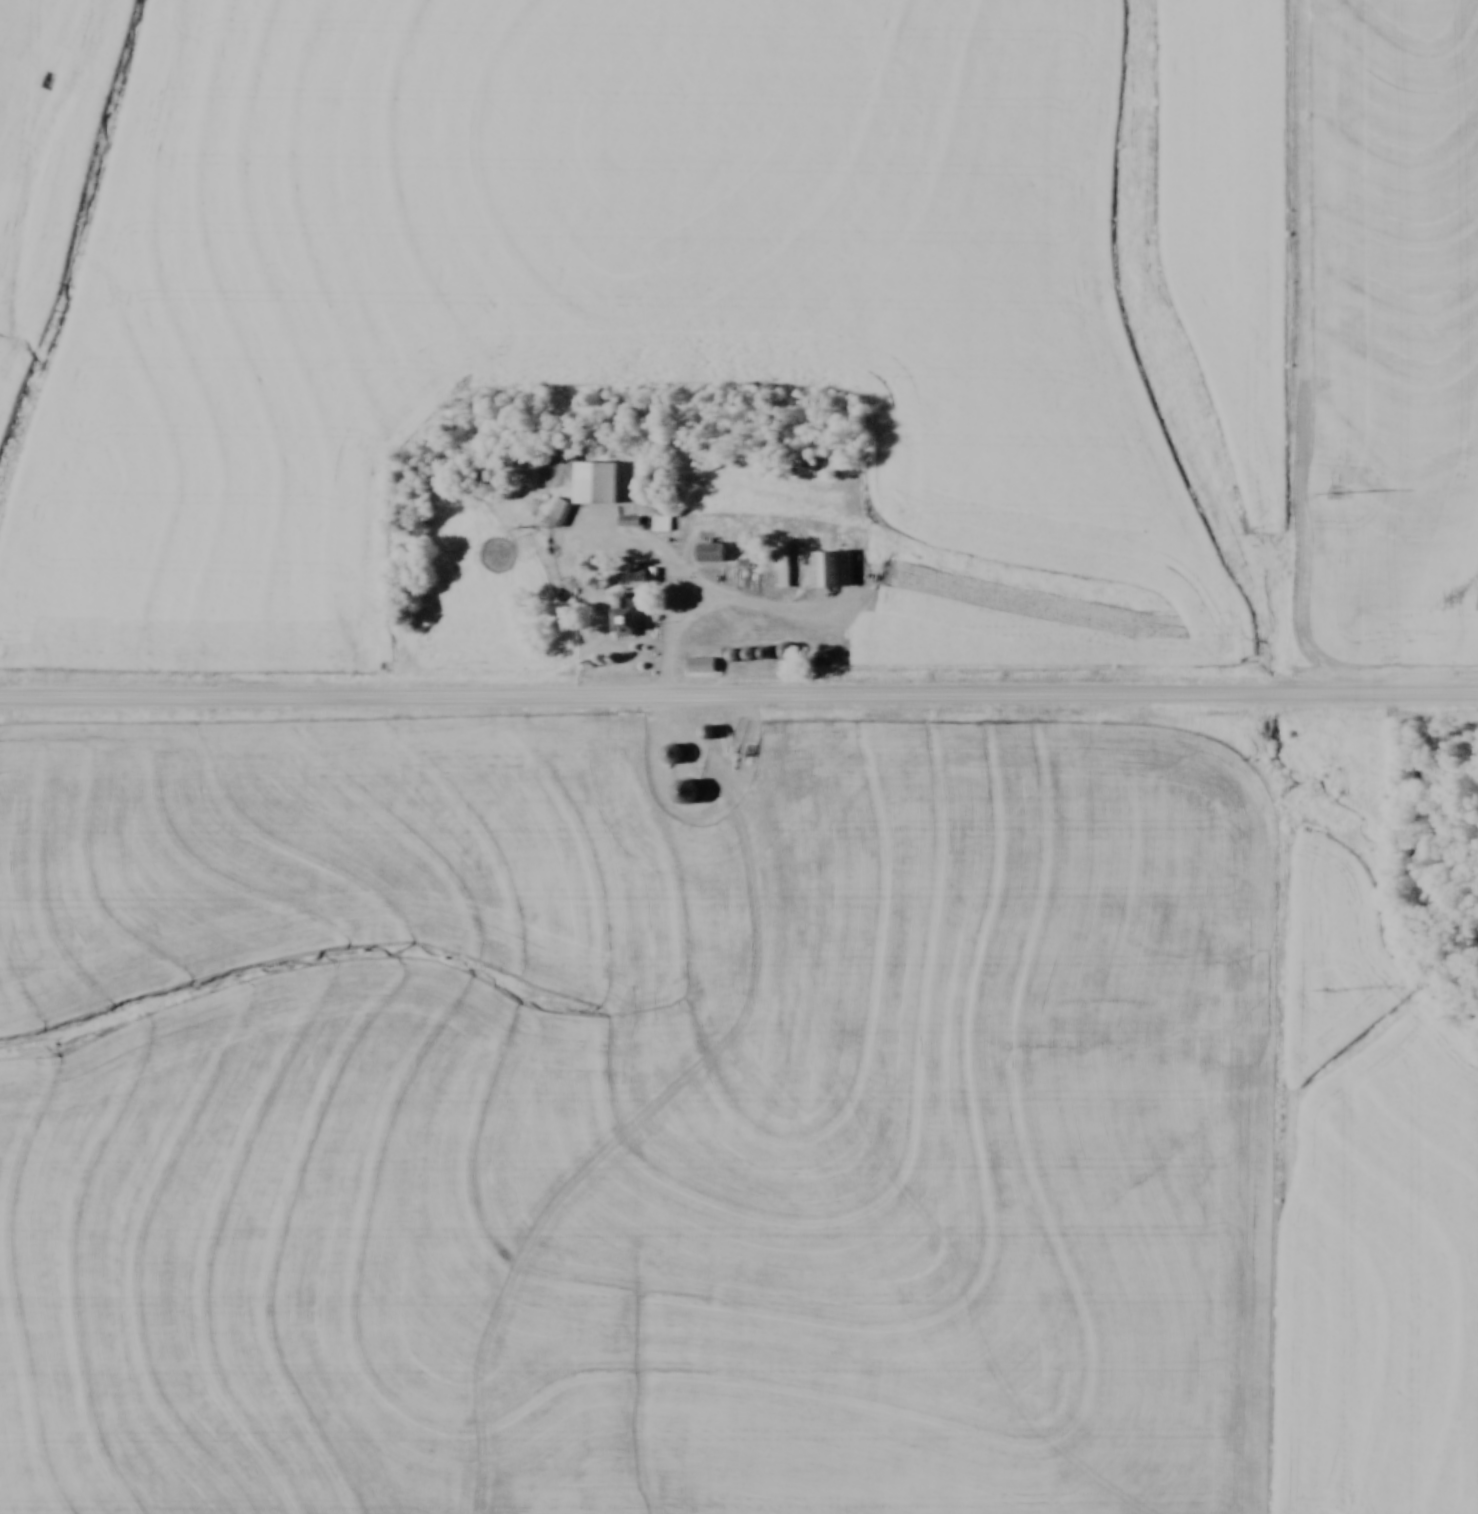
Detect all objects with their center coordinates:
building: (601, 484)
power tower: (1340, 493)
building: (558, 513)
building: (664, 523)
building: (714, 552)
road: (649, 553)
building: (833, 569)
road: (716, 595)
building: (627, 601)
building: (631, 622)
road: (738, 700)
power tower: (1334, 991)

